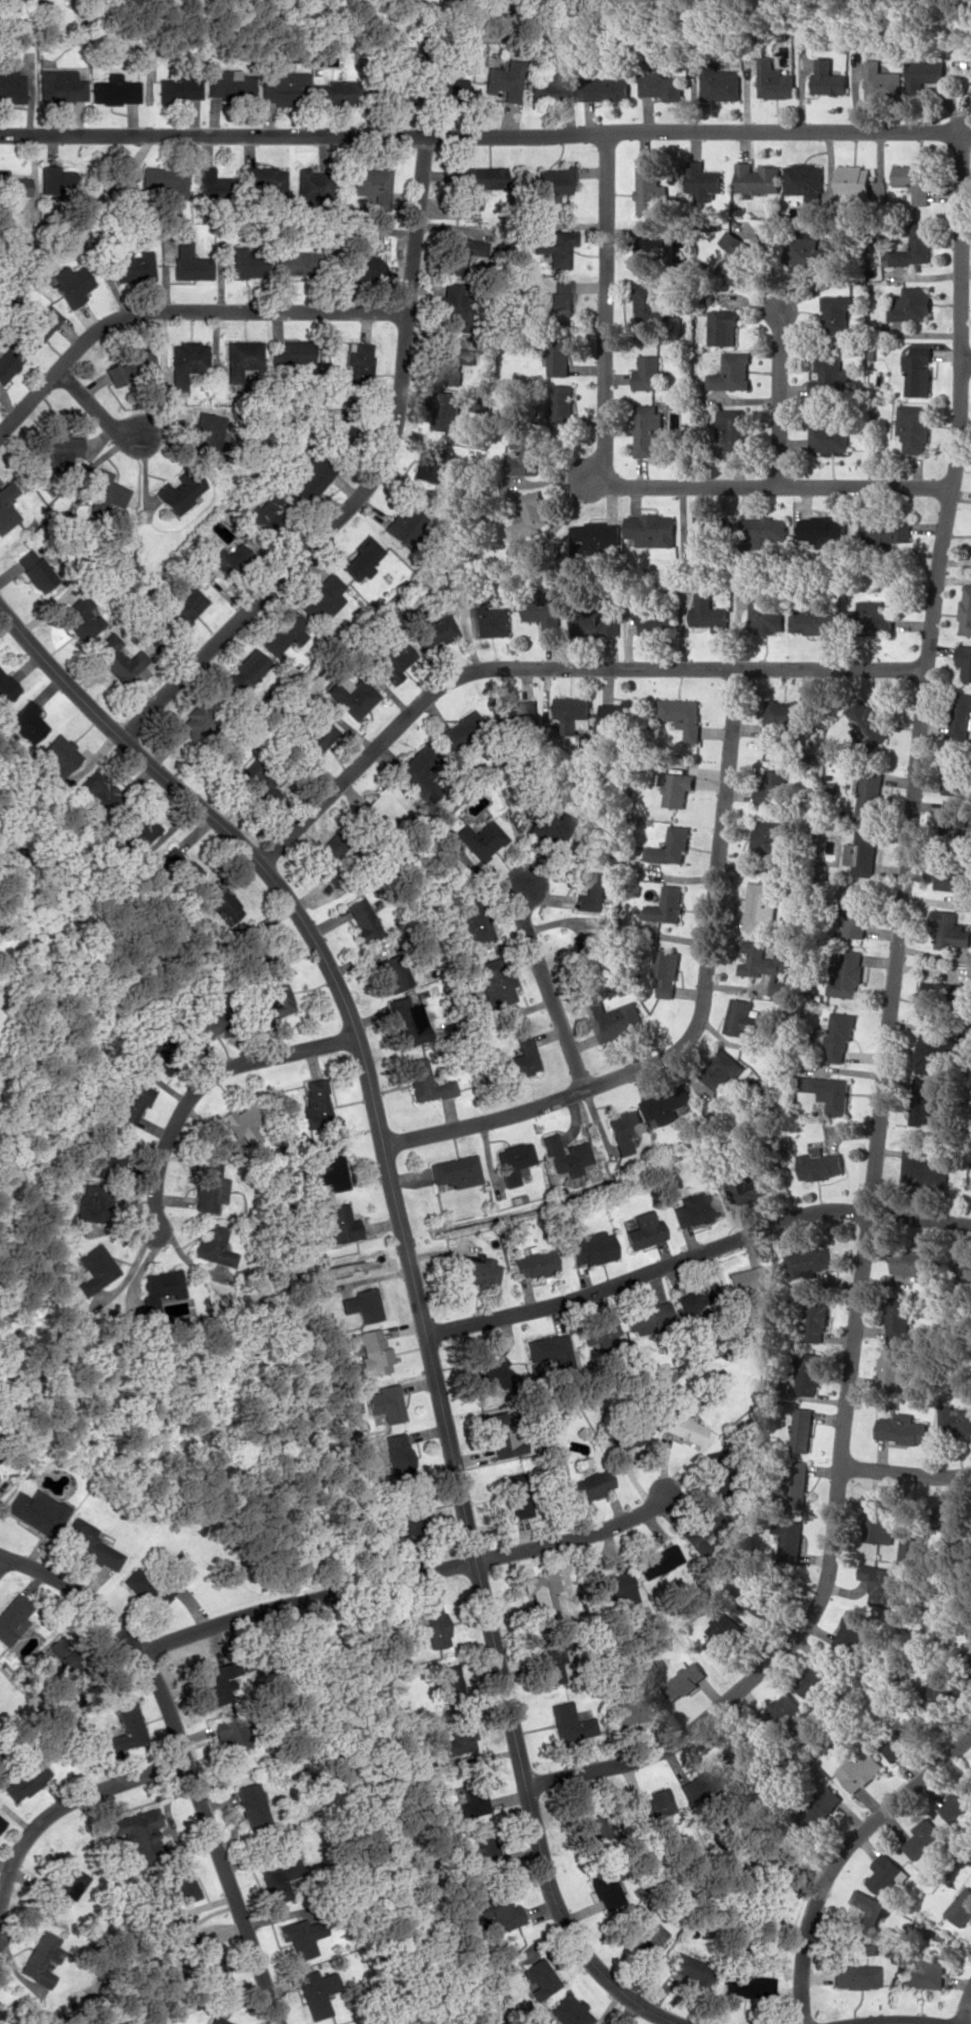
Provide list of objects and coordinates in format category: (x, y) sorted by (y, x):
building: (923, 76)
building: (829, 78)
building: (503, 79)
building: (774, 80)
building: (10, 81)
building: (882, 82)
building: (230, 84)
building: (721, 84)
building: (65, 86)
building: (661, 86)
building: (179, 87)
building: (446, 87)
building: (283, 88)
building: (552, 88)
building: (606, 88)
building: (114, 90)
building: (333, 92)
building: (397, 94)
road: (477, 134)
building: (54, 178)
building: (704, 178)
building: (757, 178)
building: (166, 179)
building: (265, 179)
building: (805, 181)
building: (854, 181)
building: (915, 181)
building: (313, 183)
building: (479, 183)
building: (553, 183)
building: (213, 184)
building: (373, 184)
building: (12, 190)
building: (649, 190)
building: (915, 246)
building: (555, 247)
building: (648, 249)
building: (805, 250)
building: (463, 253)
building: (737, 257)
building: (188, 258)
building: (297, 262)
building: (245, 263)
building: (133, 264)
building: (366, 267)
building: (71, 284)
building: (561, 298)
building: (651, 301)
building: (912, 304)
building: (453, 306)
road: (180, 311)
building: (837, 312)
building: (37, 326)
building: (724, 327)
building: (292, 353)
building: (560, 354)
building: (242, 356)
building: (185, 361)
road: (966, 361)
building: (8, 363)
building: (455, 363)
building: (126, 367)
building: (732, 372)
building: (649, 373)
building: (918, 374)
building: (830, 378)
road: (779, 396)
building: (562, 404)
building: (449, 410)
road: (93, 411)
building: (914, 427)
building: (648, 429)
building: (341, 432)
building: (734, 432)
building: (203, 434)
building: (828, 437)
building: (56, 449)
building: (526, 456)
building: (437, 465)
road: (609, 475)
building: (311, 478)
road: (368, 483)
building: (180, 490)
building: (106, 493)
building: (7, 505)
building: (263, 512)
building: (529, 516)
building: (401, 526)
building: (653, 529)
building: (824, 531)
building: (760, 532)
building: (887, 534)
building: (706, 535)
building: (595, 536)
building: (227, 558)
building: (362, 558)
building: (35, 570)
building: (322, 598)
building: (183, 604)
building: (966, 611)
building: (545, 613)
building: (709, 613)
building: (765, 614)
building: (79, 617)
building: (812, 618)
building: (876, 618)
building: (491, 619)
building: (656, 620)
building: (595, 624)
building: (429, 629)
building: (282, 633)
building: (115, 658)
building: (392, 660)
building: (965, 660)
road: (554, 667)
building: (242, 671)
building: (5, 688)
building: (351, 697)
building: (575, 712)
building: (613, 713)
building: (783, 715)
building: (197, 716)
building: (683, 716)
building: (25, 721)
building: (868, 722)
building: (460, 730)
building: (316, 738)
building: (56, 757)
building: (418, 770)
building: (955, 779)
building: (256, 784)
building: (677, 787)
building: (775, 789)
building: (96, 791)
building: (870, 793)
building: (384, 808)
building: (952, 825)
building: (554, 826)
building: (474, 838)
building: (769, 839)
building: (672, 846)
building: (862, 853)
building: (326, 860)
building: (178, 867)
building: (951, 877)
building: (591, 893)
building: (220, 901)
building: (667, 905)
building: (761, 905)
building: (855, 913)
building: (472, 916)
building: (362, 918)
building: (949, 930)
building: (587, 953)
building: (763, 963)
building: (666, 971)
building: (392, 973)
building: (848, 974)
building: (491, 981)
road: (548, 988)
building: (930, 999)
building: (271, 1000)
road: (699, 1016)
building: (209, 1018)
building: (744, 1018)
building: (616, 1020)
building: (407, 1021)
building: (840, 1035)
road: (887, 1049)
building: (931, 1053)
building: (519, 1059)
building: (722, 1070)
building: (425, 1081)
road: (204, 1084)
building: (827, 1093)
building: (133, 1102)
building: (314, 1103)
building: (667, 1104)
building: (926, 1104)
building: (243, 1121)
building: (624, 1128)
building: (111, 1153)
building: (565, 1155)
building: (513, 1162)
building: (819, 1164)
building: (332, 1166)
building: (921, 1168)
building: (454, 1171)
building: (668, 1178)
building: (208, 1187)
building: (746, 1188)
building: (94, 1201)
building: (695, 1208)
building: (340, 1223)
building: (643, 1229)
building: (212, 1244)
building: (591, 1248)
road: (695, 1254)
building: (808, 1262)
building: (916, 1263)
building: (96, 1264)
building: (534, 1264)
building: (965, 1269)
building: (476, 1270)
building: (747, 1282)
road: (412, 1283)
building: (697, 1297)
building: (361, 1304)
building: (651, 1314)
building: (900, 1318)
building: (815, 1320)
building: (599, 1335)
building: (370, 1350)
building: (549, 1350)
building: (893, 1369)
building: (488, 1371)
building: (810, 1373)
building: (385, 1403)
building: (956, 1419)
building: (682, 1428)
building: (804, 1429)
building: (904, 1429)
building: (500, 1435)
building: (398, 1454)
building: (714, 1472)
road: (906, 1472)
building: (798, 1484)
building: (590, 1485)
building: (517, 1495)
building: (35, 1510)
building: (955, 1518)
building: (879, 1520)
building: (407, 1524)
building: (697, 1524)
building: (792, 1539)
building: (89, 1543)
building: (657, 1559)
road: (405, 1578)
building: (880, 1582)
building: (145, 1587)
building: (612, 1587)
building: (544, 1595)
building: (759, 1600)
building: (12, 1617)
building: (432, 1622)
building: (850, 1631)
building: (722, 1635)
building: (551, 1657)
building: (968, 1659)
building: (818, 1677)
building: (686, 1679)
building: (213, 1684)
building: (450, 1688)
building: (938, 1695)
building: (783, 1707)
building: (630, 1710)
building: (569, 1722)
building: (125, 1729)
building: (230, 1732)
building: (458, 1738)
road: (182, 1754)
building: (861, 1771)
building: (24, 1780)
building: (702, 1780)
building: (473, 1800)
building: (827, 1802)
building: (958, 1802)
building: (251, 1805)
building: (653, 1805)
road: (58, 1809)
building: (1, 1822)
building: (590, 1827)
building: (140, 1836)
building: (923, 1838)
building: (483, 1846)
road: (842, 1857)
building: (887, 1875)
building: (278, 1880)
building: (61, 1885)
building: (605, 1887)
building: (176, 1894)
building: (768, 1905)
building: (962, 1908)
building: (497, 1912)
building: (867, 1912)
building: (300, 1936)
building: (648, 1938)
building: (206, 1952)
building: (154, 1958)
building: (40, 1959)
building: (691, 1969)
building: (925, 1974)
building: (854, 1975)
building: (537, 1977)
building: (746, 1984)
building: (315, 1992)
building: (568, 2010)
road: (966, 2012)
building: (217, 2020)
road: (896, 2022)

